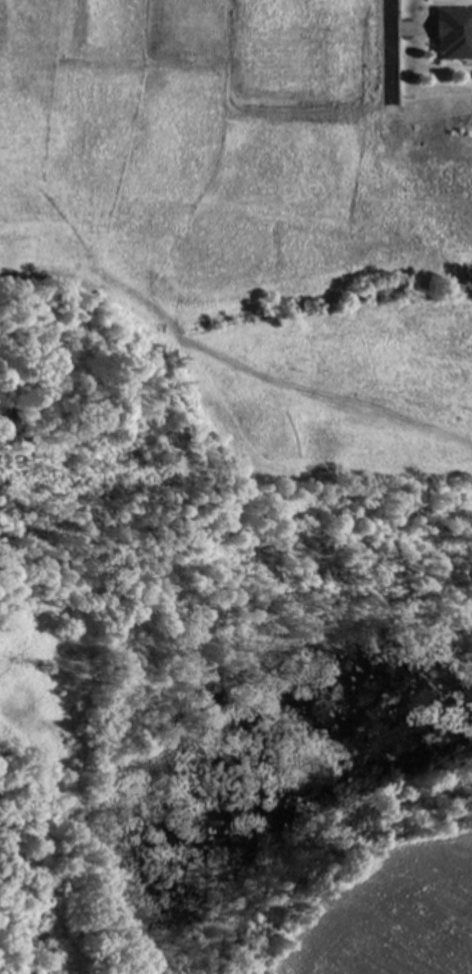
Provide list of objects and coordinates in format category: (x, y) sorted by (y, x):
building: (453, 36)
road: (390, 58)
road: (431, 116)

